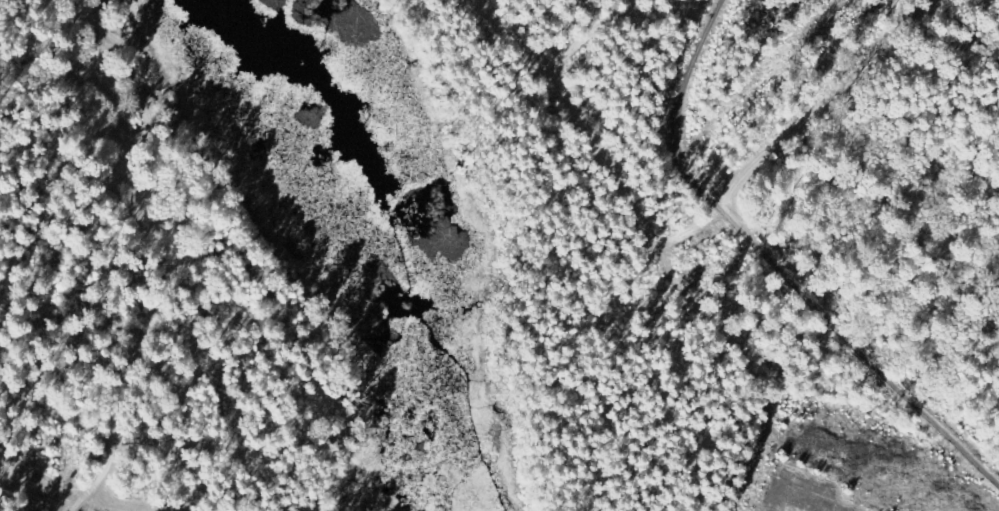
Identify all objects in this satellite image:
road: (73, 497)

